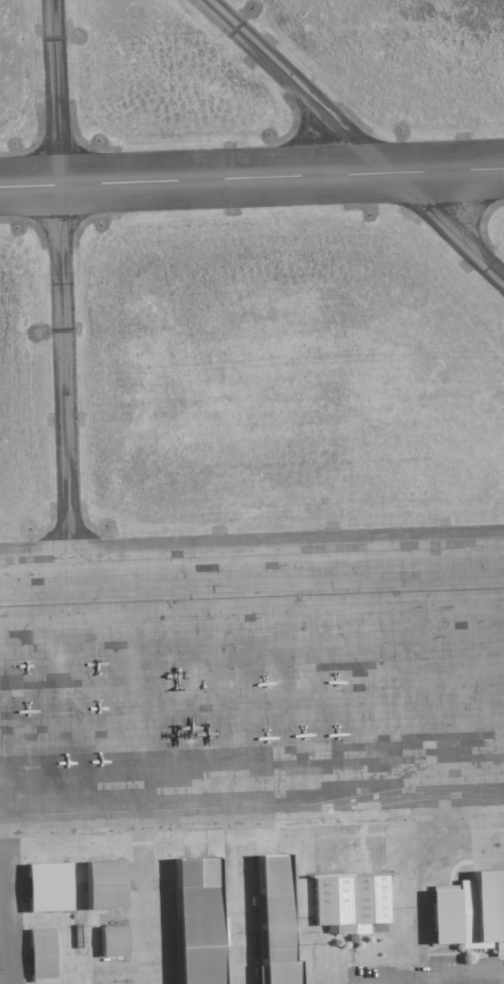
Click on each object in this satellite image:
airport taxiway: (306, 96)
airport taxiway: (315, 149)
airport taxiway: (38, 168)
airport taxiway: (80, 169)
airport runway: (252, 178)
airport taxiway: (79, 196)
airport taxiway: (39, 201)
airport taxiway: (432, 211)
airport taxiway: (456, 222)
airport taxiway: (60, 288)
airport: (252, 492)
airport taxiway: (76, 552)
airport taxiway: (252, 554)
airport apron: (253, 678)
airport hangar: (103, 885)
building: (103, 885)
airport hangar: (45, 887)
building: (45, 887)
airport hangar: (349, 901)
building: (349, 901)
airport hangar: (469, 911)
building: (469, 911)
airport hangar: (199, 921)
building: (199, 921)
airport hangar: (272, 922)
building: (272, 922)
airport hangar: (111, 942)
building: (111, 942)
airport hangar: (40, 953)
building: (40, 953)
road: (464, 973)

